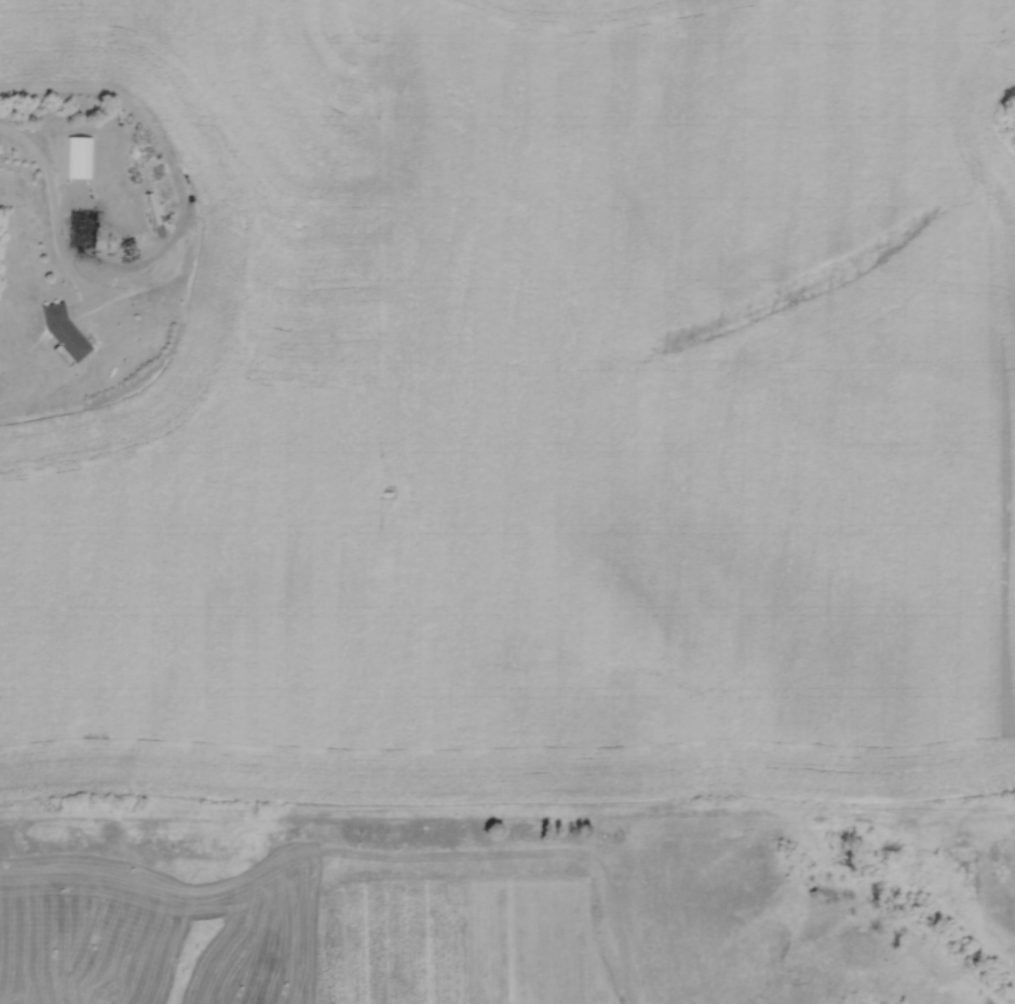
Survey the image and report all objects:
road: (43, 164)
building: (84, 227)

